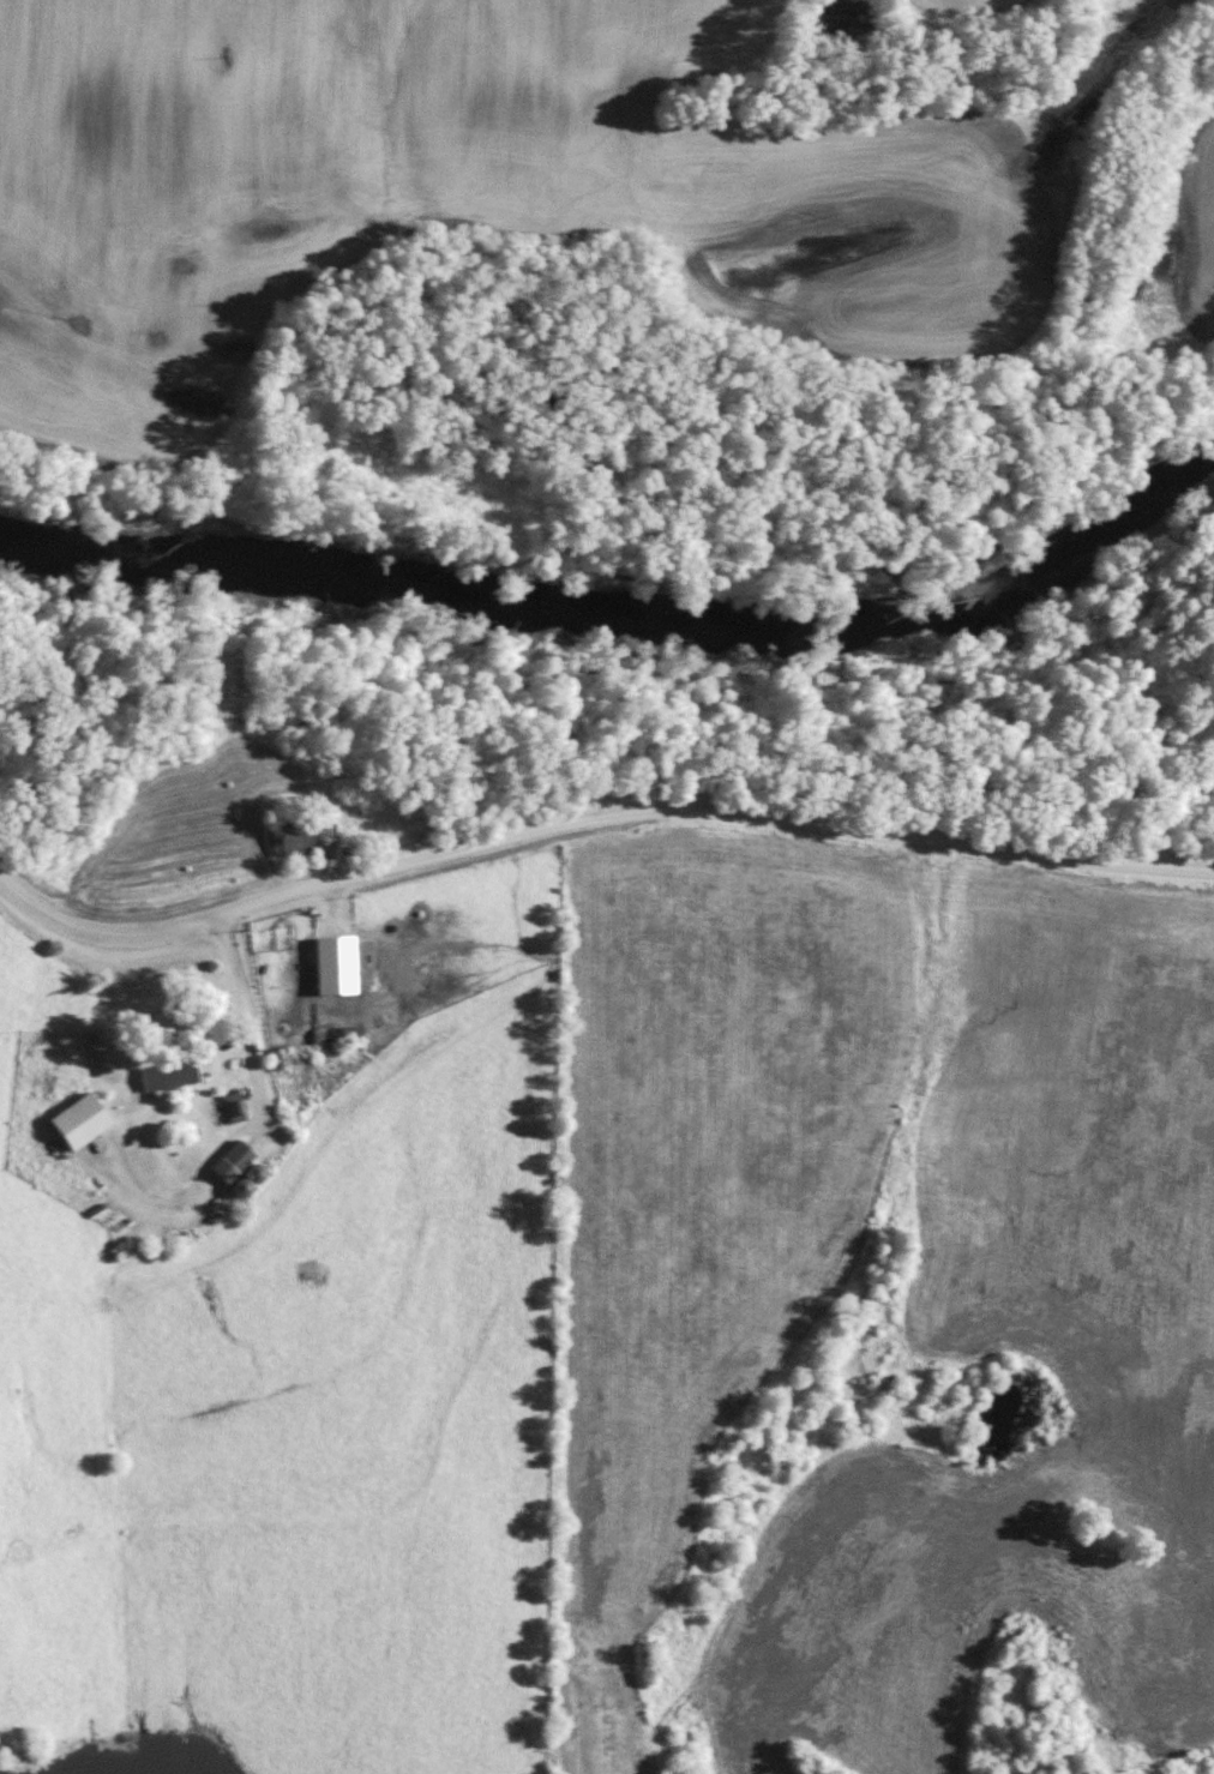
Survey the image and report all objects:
river: (629, 625)
building: (296, 841)
road: (589, 847)
building: (335, 966)
road: (242, 996)
building: (336, 1034)
building: (272, 1059)
building: (168, 1075)
building: (230, 1106)
building: (79, 1121)
building: (232, 1160)

